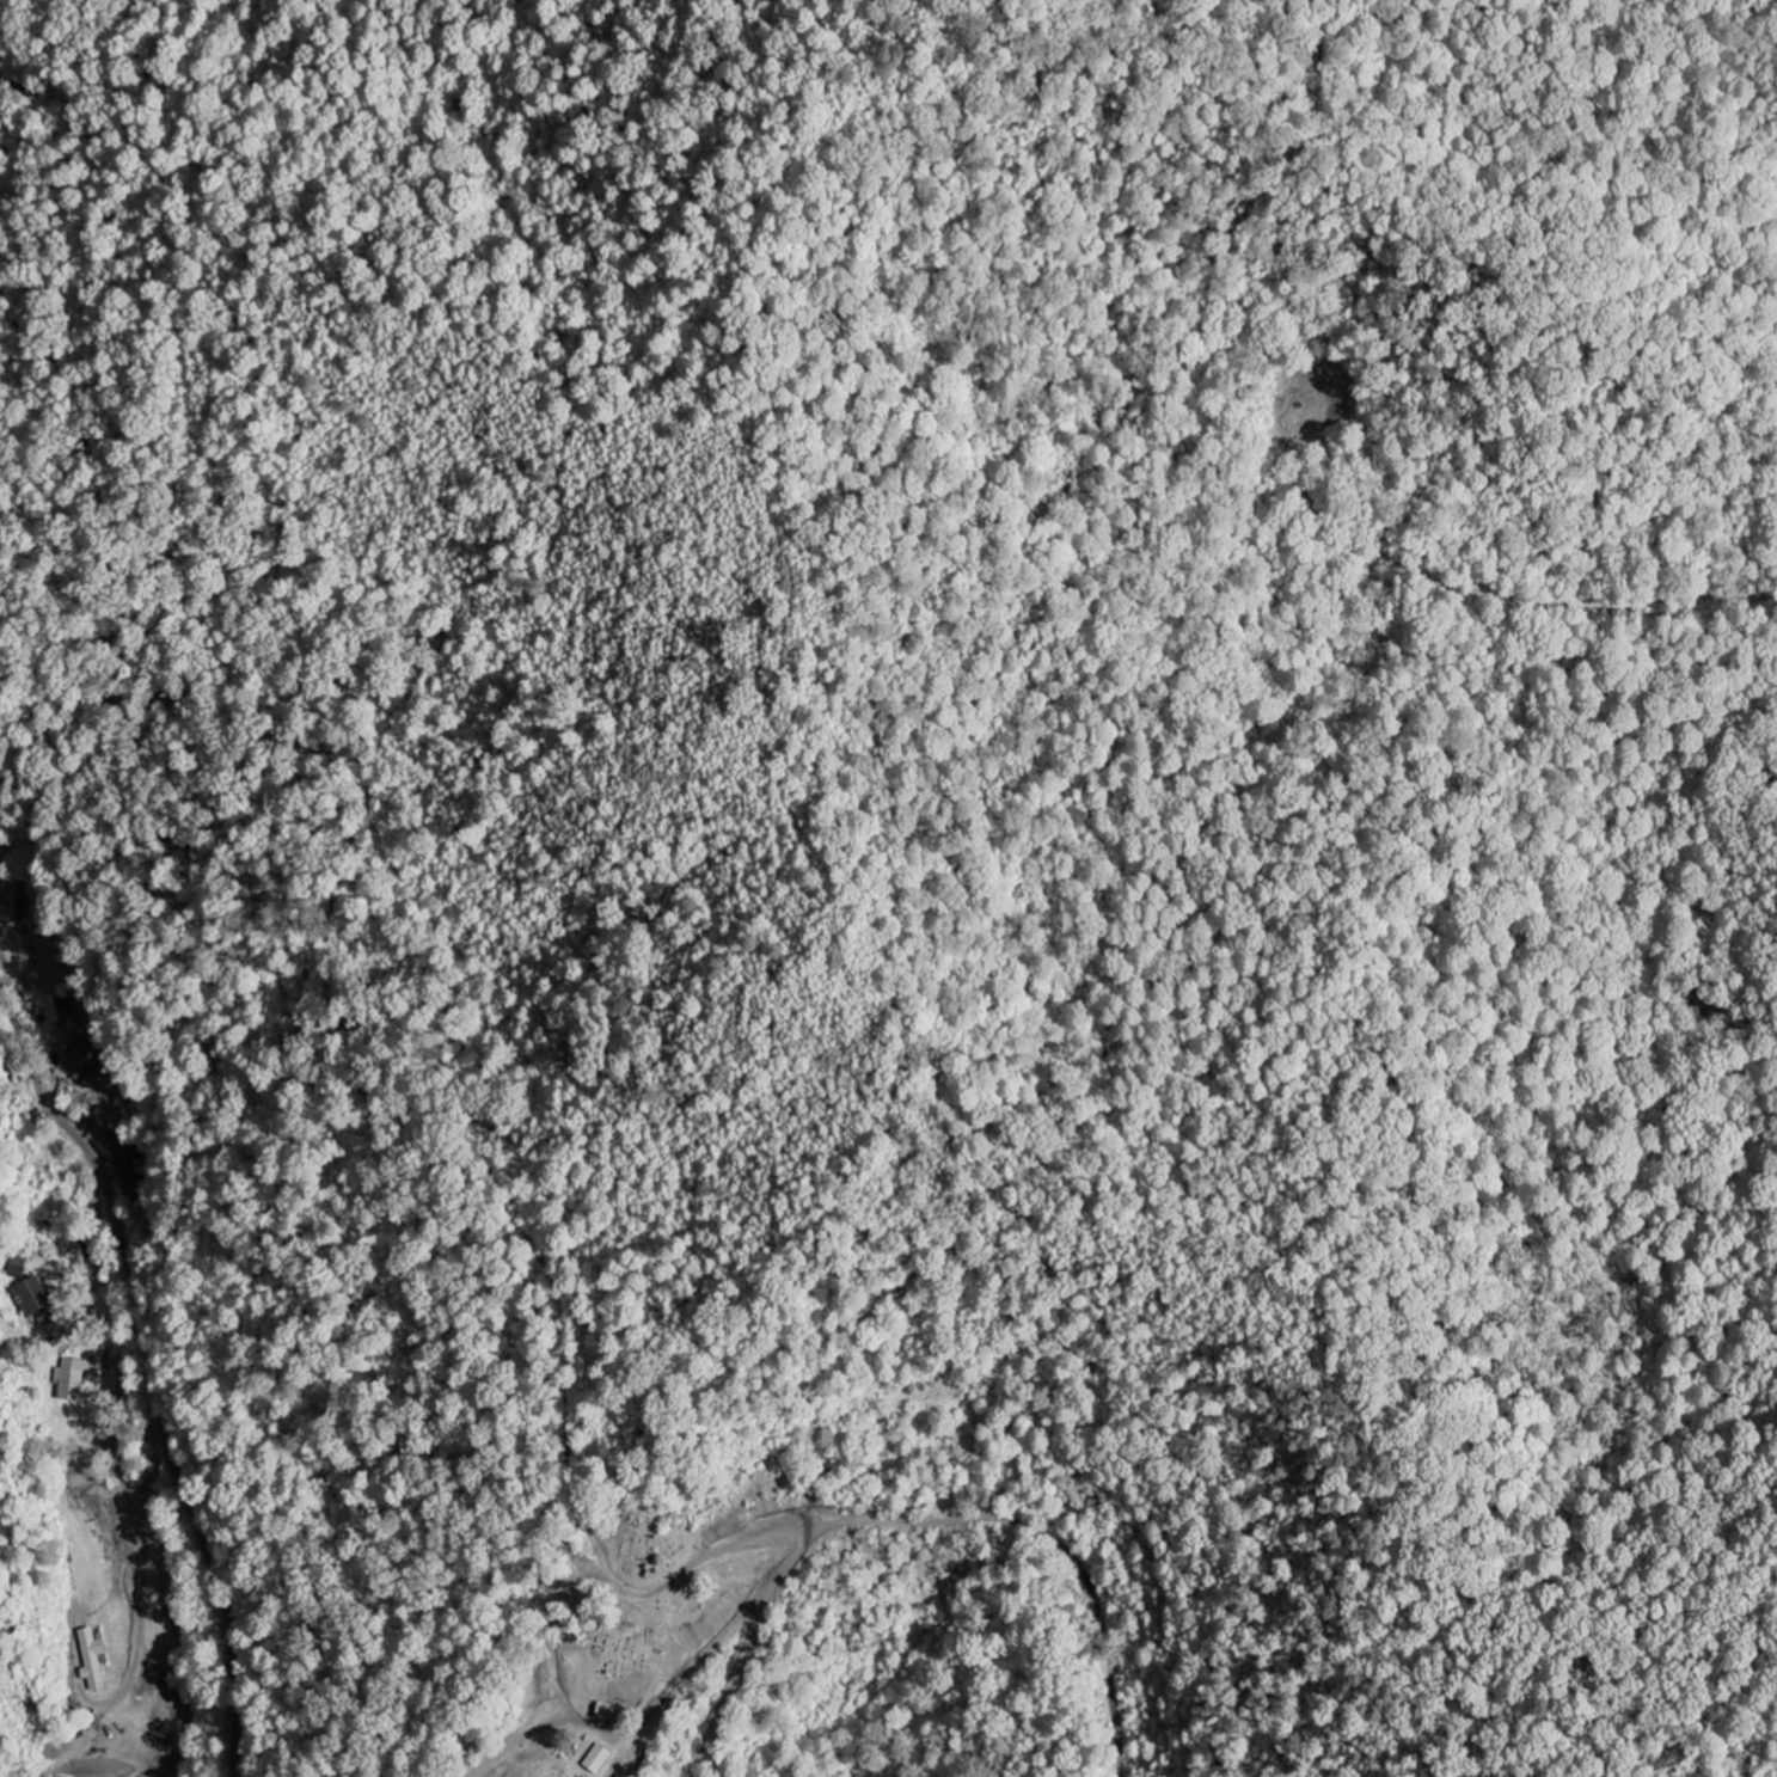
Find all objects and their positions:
building: (78, 1059)
building: (129, 1169)
building: (17, 1266)
building: (31, 1297)
building: (45, 1318)
road: (153, 1371)
building: (75, 1377)
road: (797, 1560)
building: (92, 1659)
road: (688, 1672)
building: (598, 1759)

